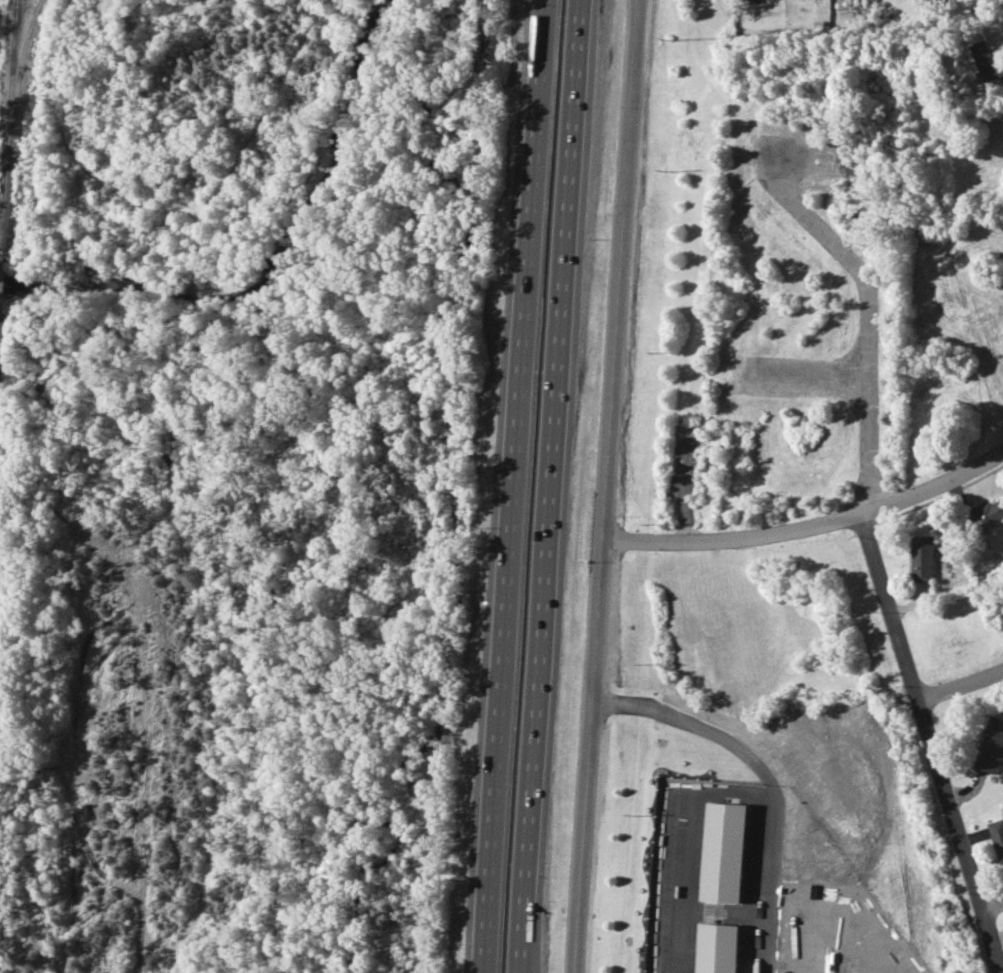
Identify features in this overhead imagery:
building: (985, 64)
railway: (8, 125)
road: (509, 486)
road: (542, 486)
road: (599, 486)
building: (985, 514)
road: (806, 530)
building: (922, 557)
river: (429, 567)
road: (959, 683)
building: (989, 744)
road: (929, 746)
road: (674, 803)
building: (997, 837)
building: (725, 895)
road: (991, 905)
street lamp: (544, 914)

